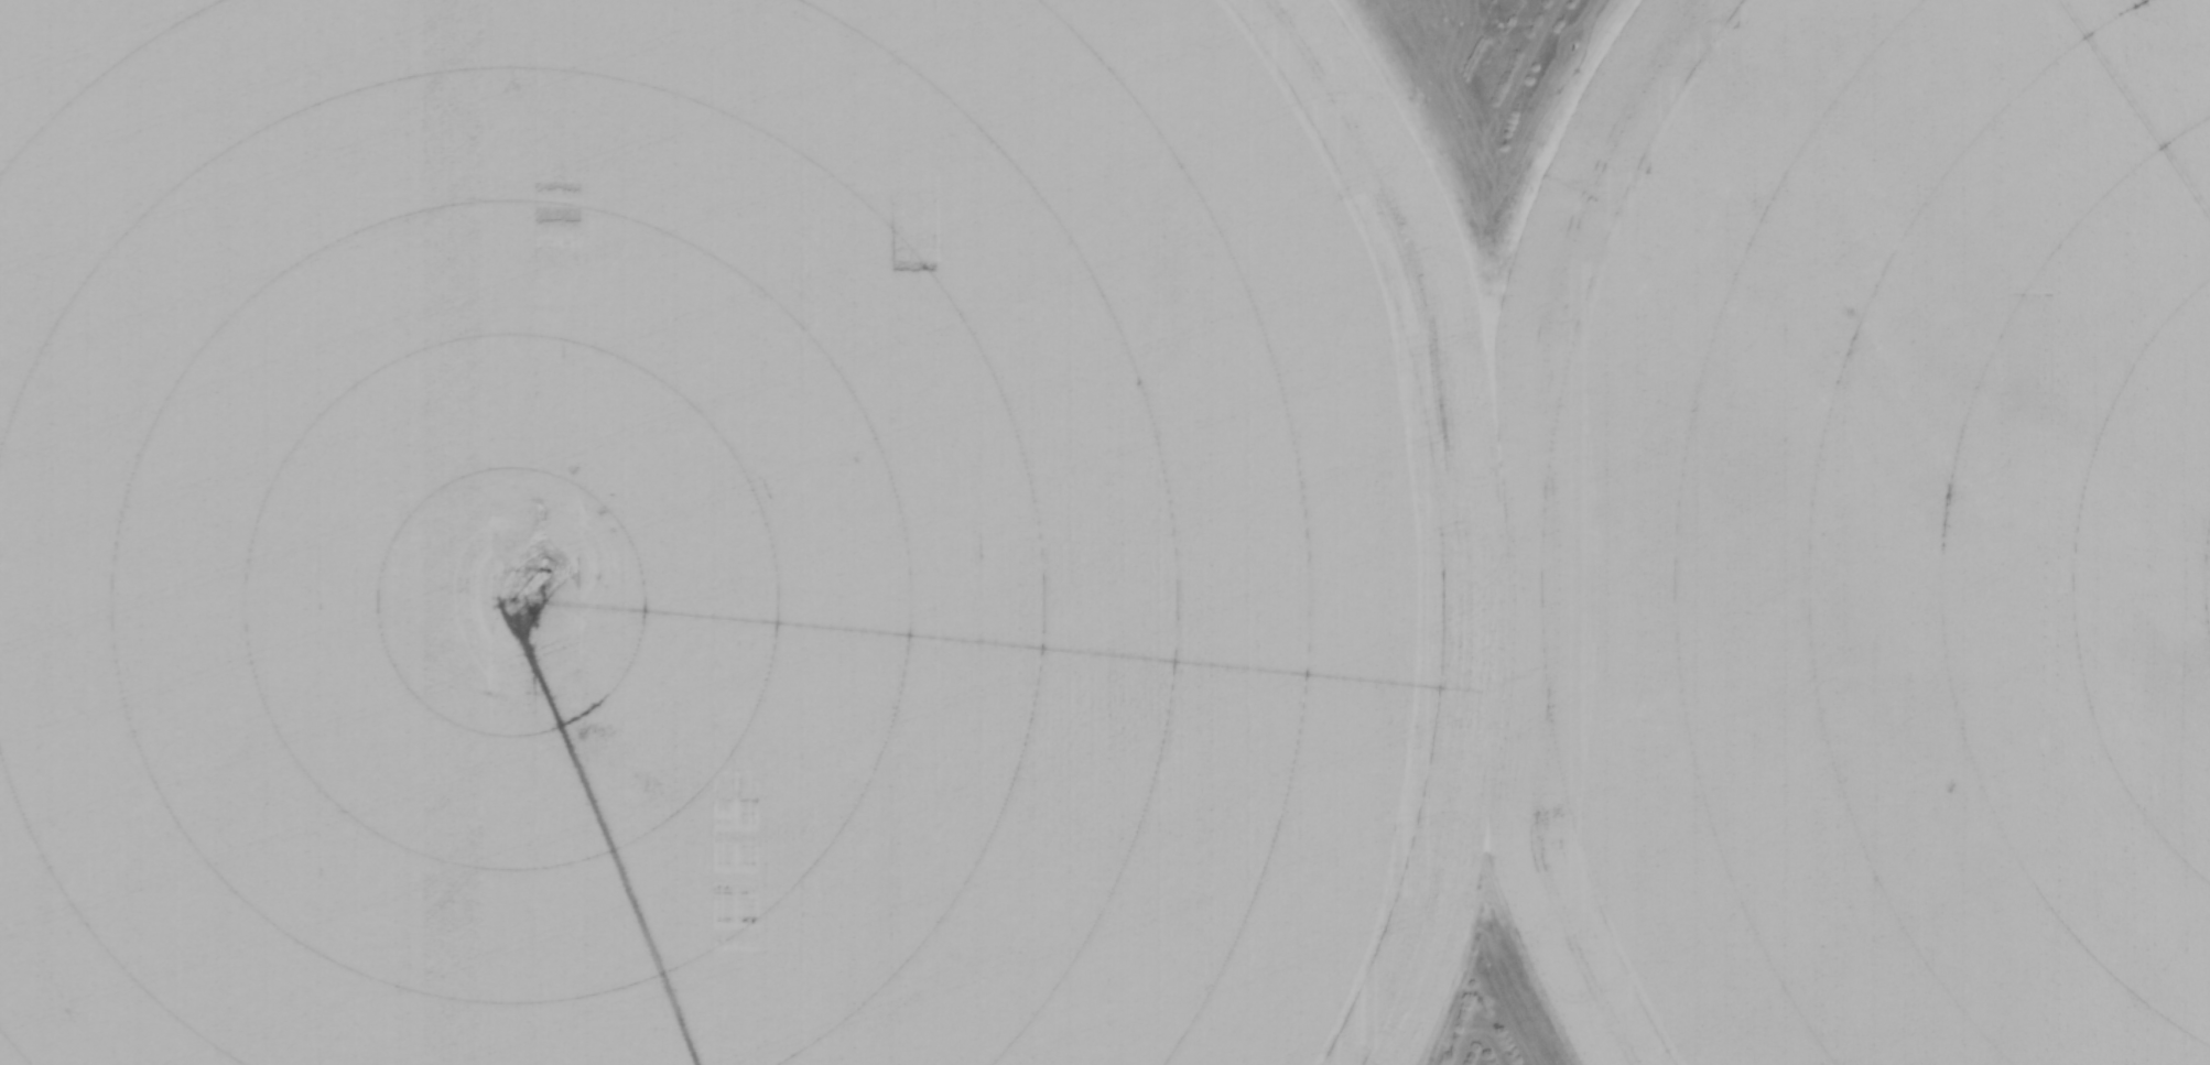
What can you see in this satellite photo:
building: (22, 35)
building: (885, 337)
building: (1146, 426)
building: (956, 437)
building: (962, 490)
building: (869, 495)
building: (1062, 511)
building: (777, 515)
building: (288, 604)
building: (776, 673)
building: (345, 737)
building: (1943, 737)
building: (163, 746)
building: (1748, 771)
building: (1865, 829)
building: (388, 852)
building: (526, 1055)

